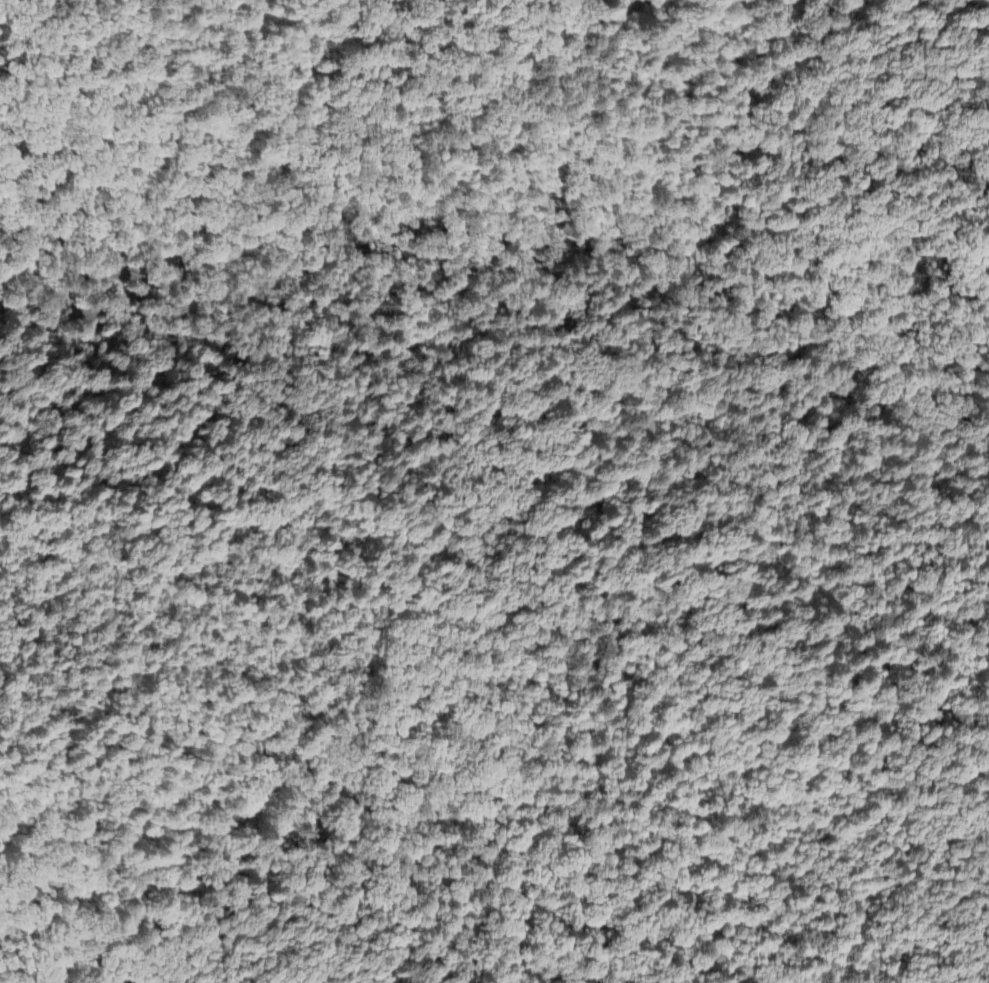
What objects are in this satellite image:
park: (493, 559)

